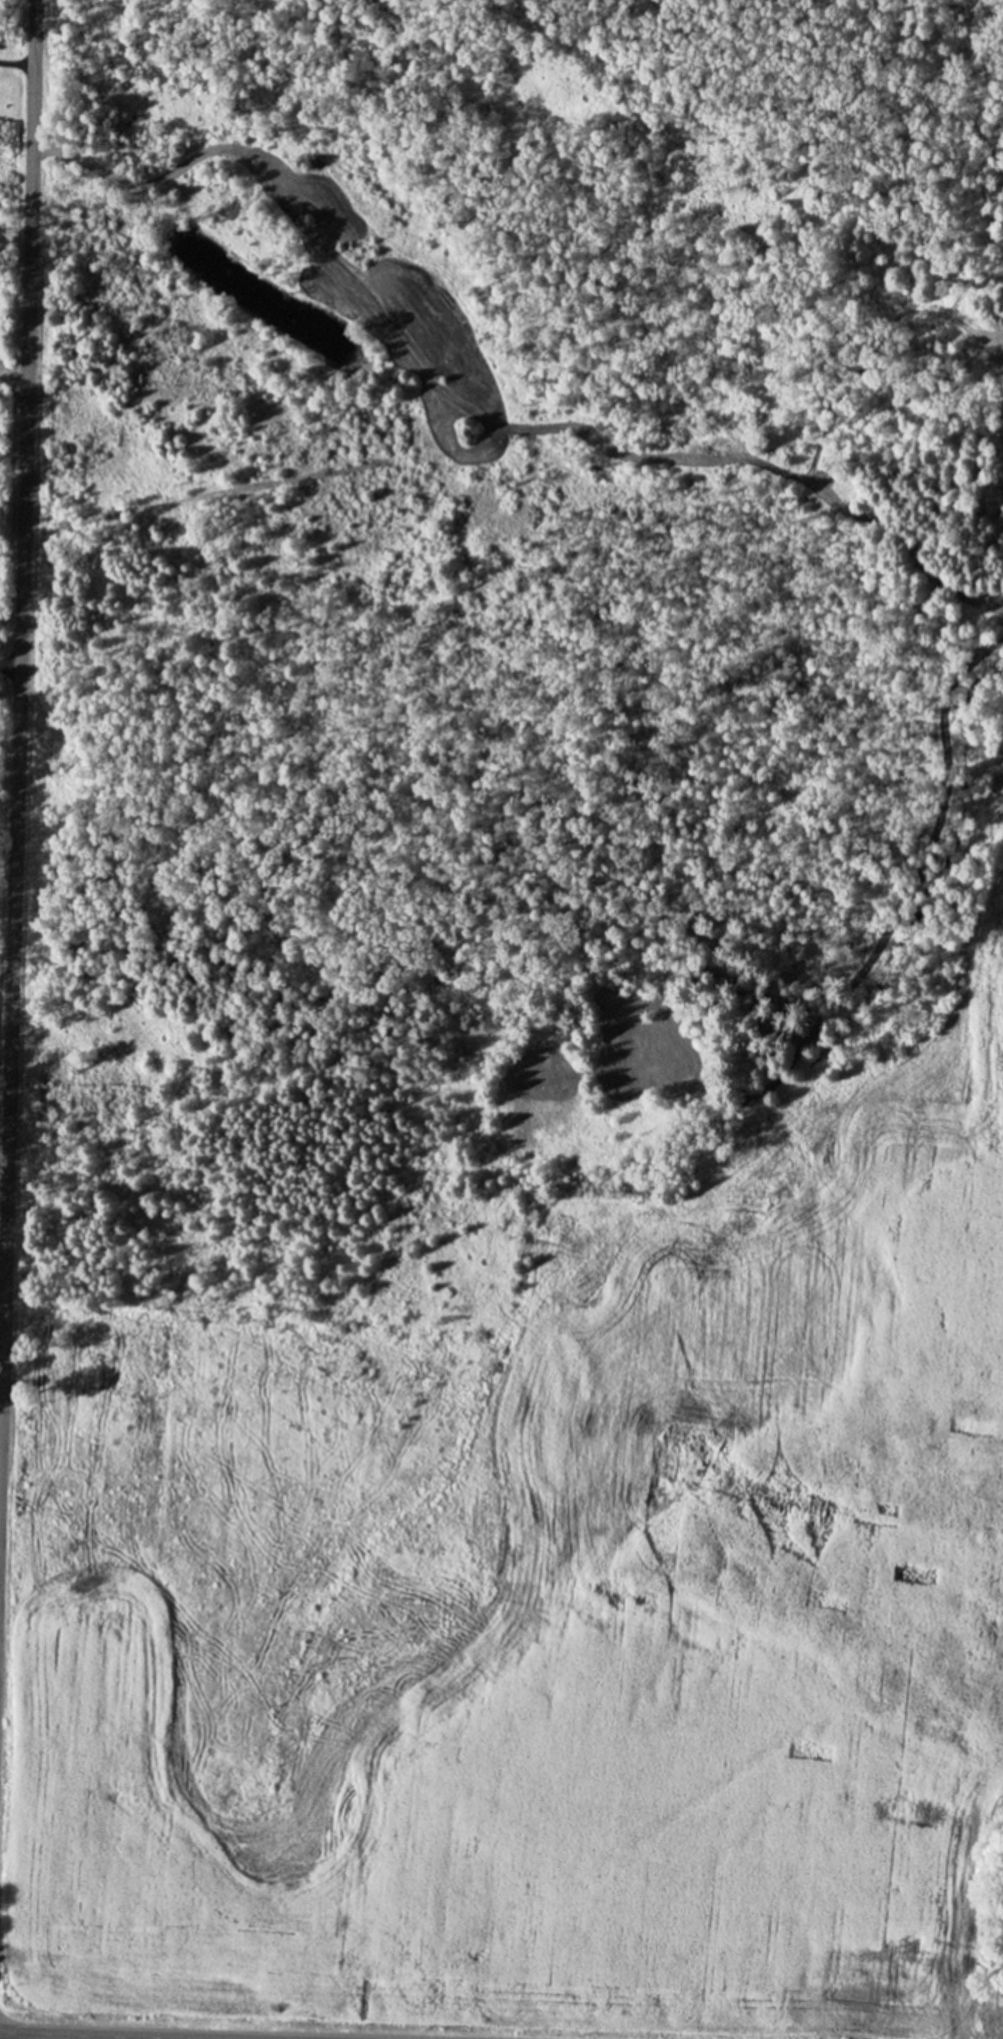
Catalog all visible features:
road: (17, 64)
road: (9, 663)
road: (17, 712)
building: (980, 1623)
road: (141, 2034)

